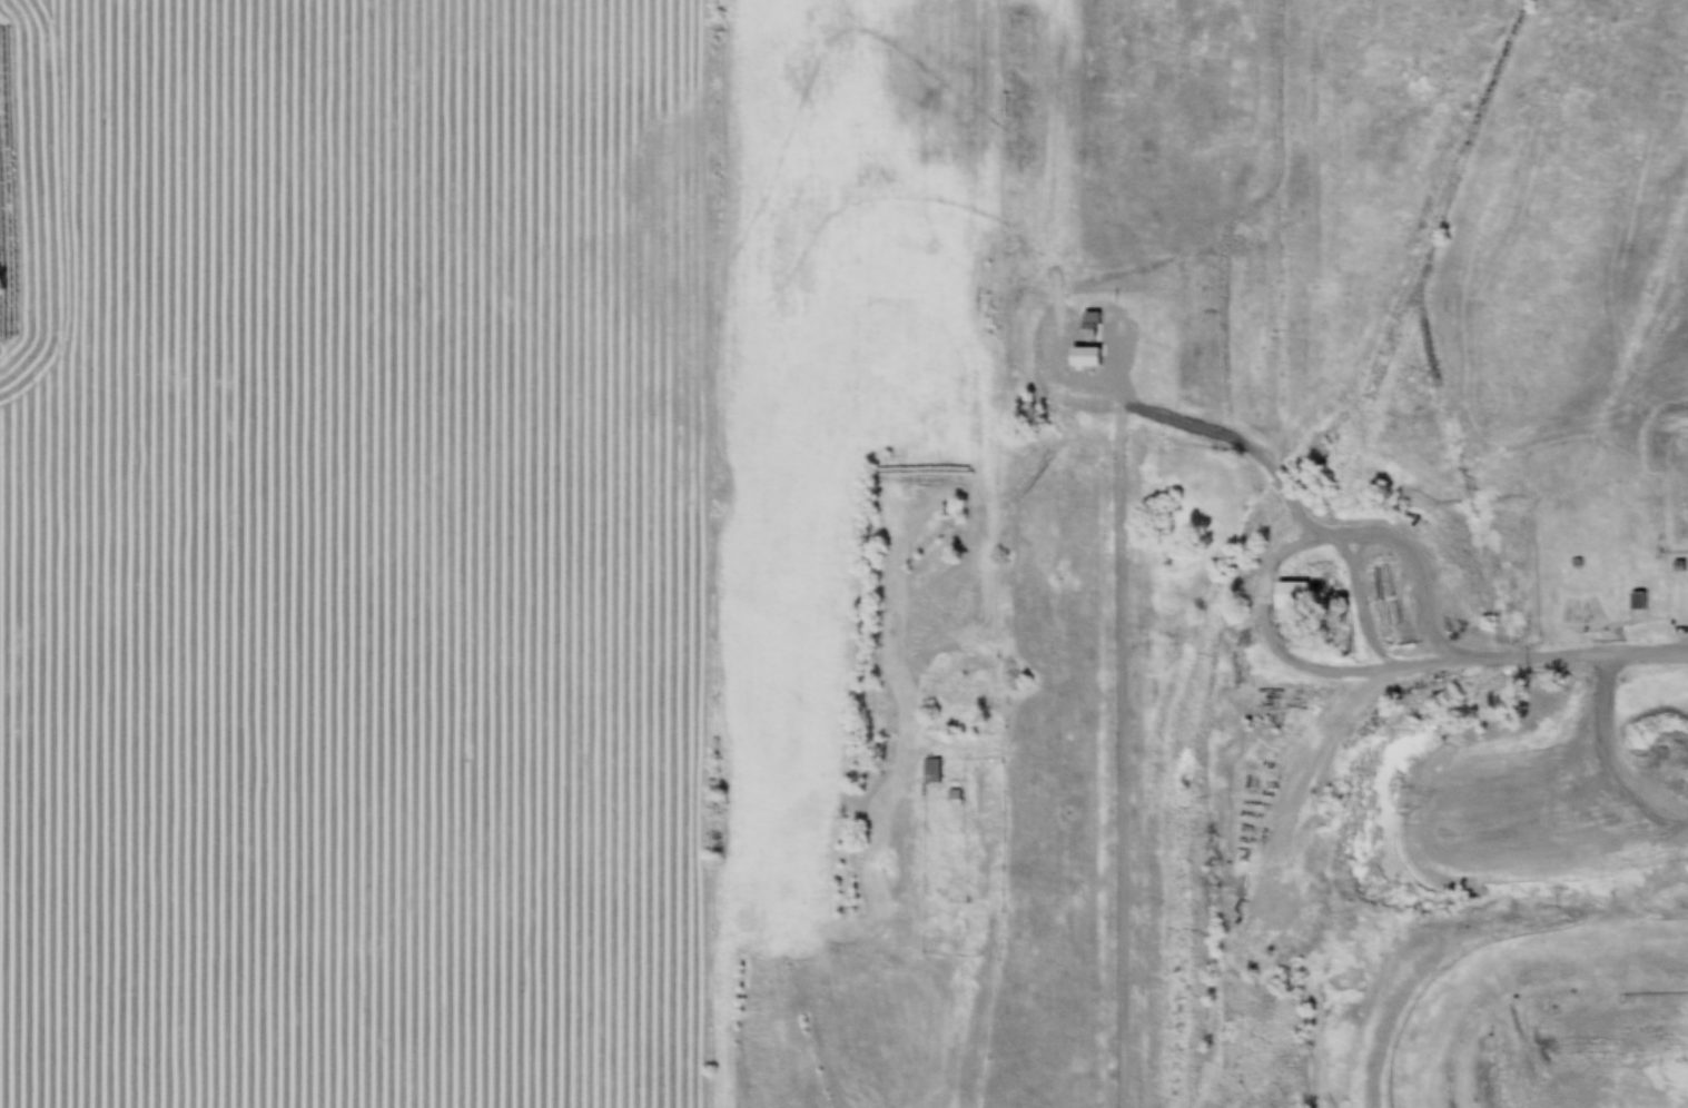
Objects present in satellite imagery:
building: (1290, 603)
building: (1637, 603)
building: (931, 773)

